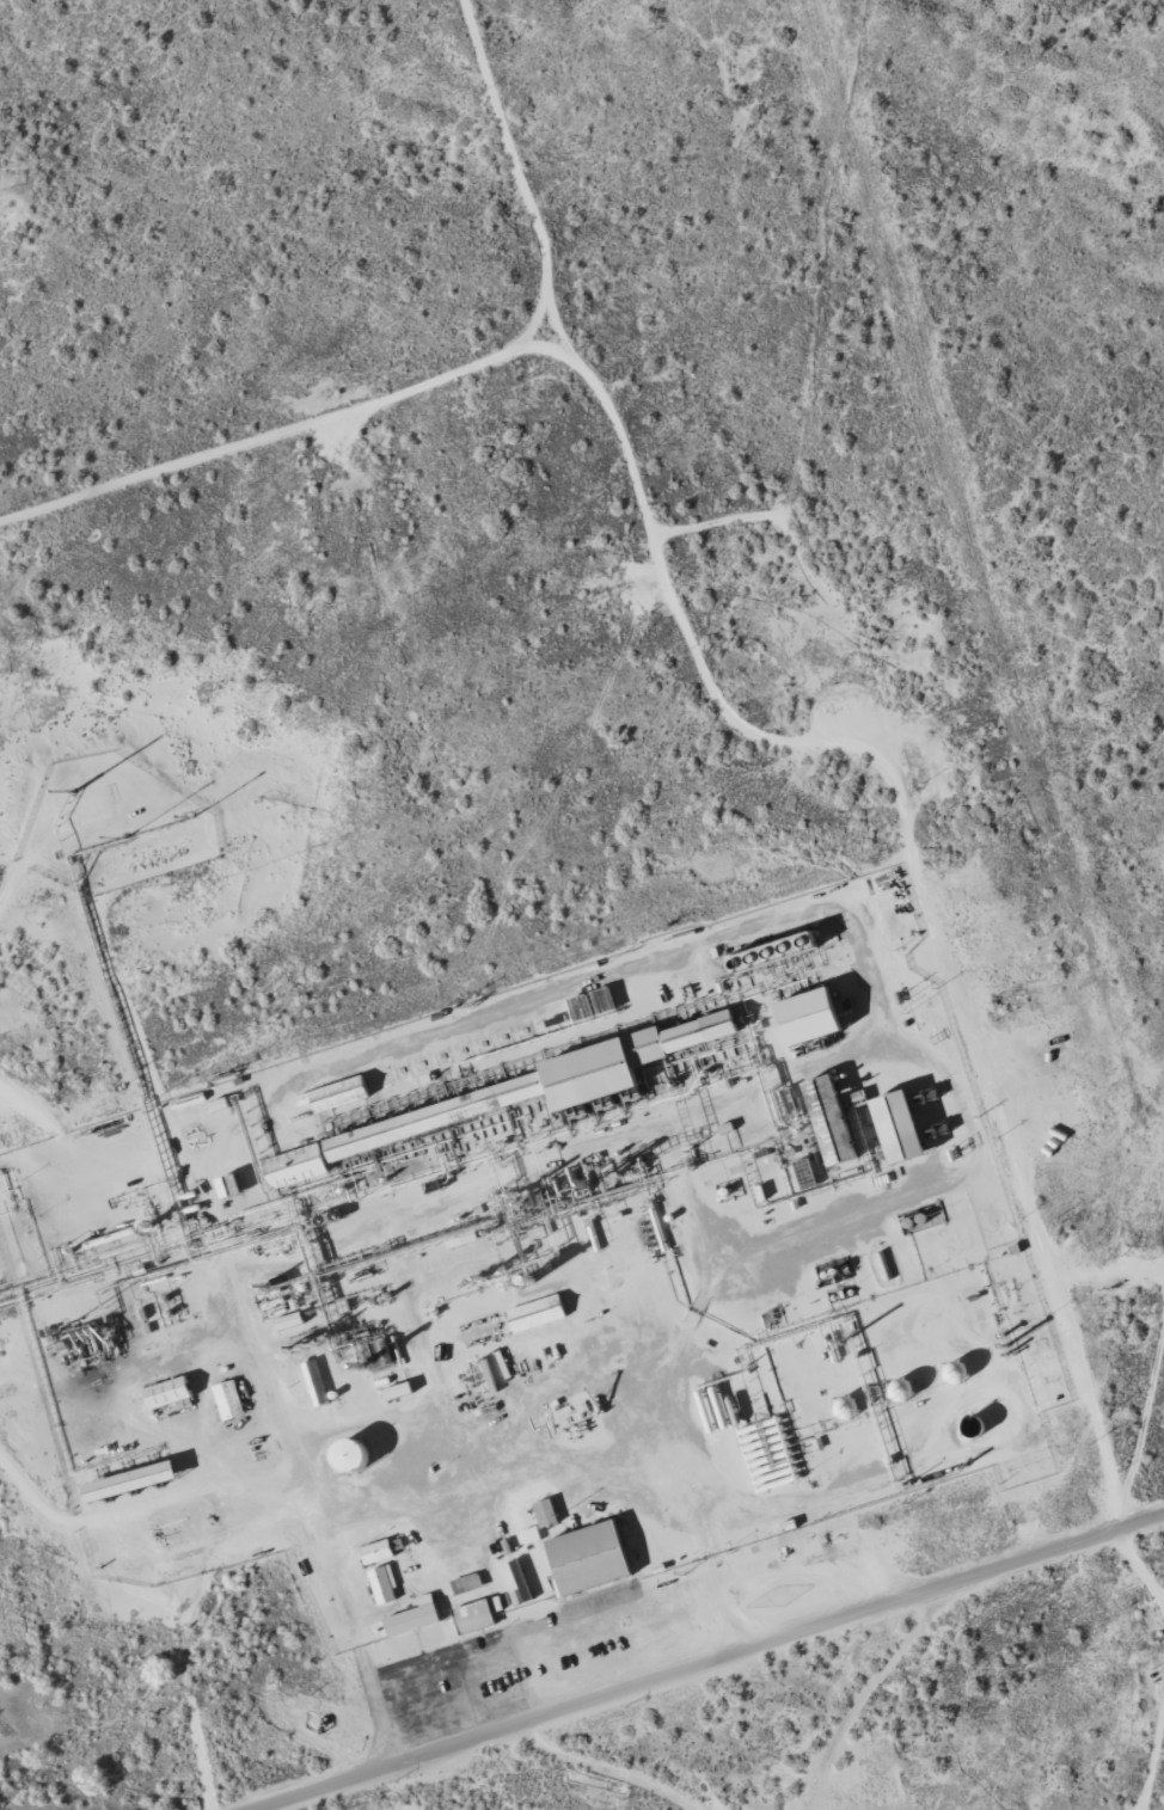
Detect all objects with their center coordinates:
road: (594, 430)
road: (280, 459)
road: (944, 863)
road: (91, 866)
building: (804, 1018)
building: (335, 1096)
building: (508, 1096)
building: (827, 1122)
building: (895, 1128)
building: (534, 1314)
building: (165, 1394)
road: (308, 1425)
road: (1120, 1426)
building: (127, 1481)
building: (544, 1513)
building: (586, 1558)
building: (382, 1584)
building: (472, 1616)
building: (412, 1618)
road: (707, 1664)
road: (878, 1700)
road: (565, 1777)

